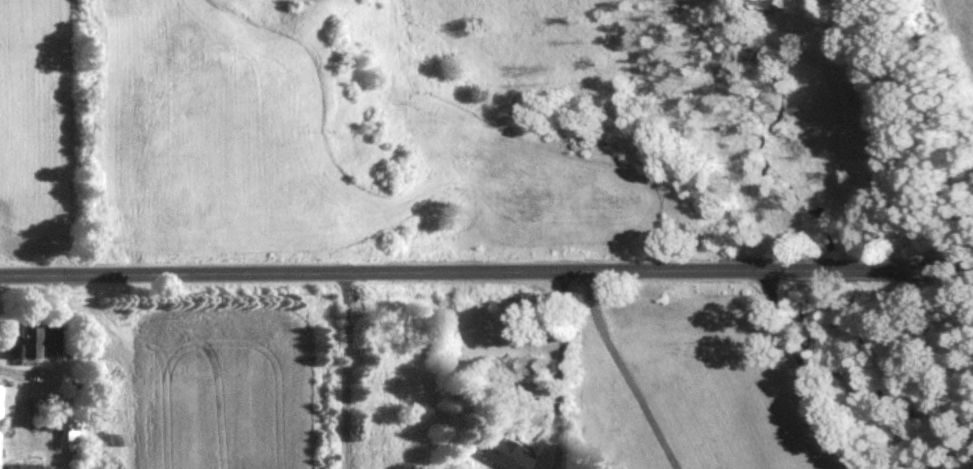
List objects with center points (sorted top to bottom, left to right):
road: (486, 270)
building: (34, 343)
road: (559, 363)
road: (343, 369)
road: (810, 369)
road: (618, 373)
road: (50, 403)
building: (4, 404)
building: (69, 425)
building: (499, 455)

